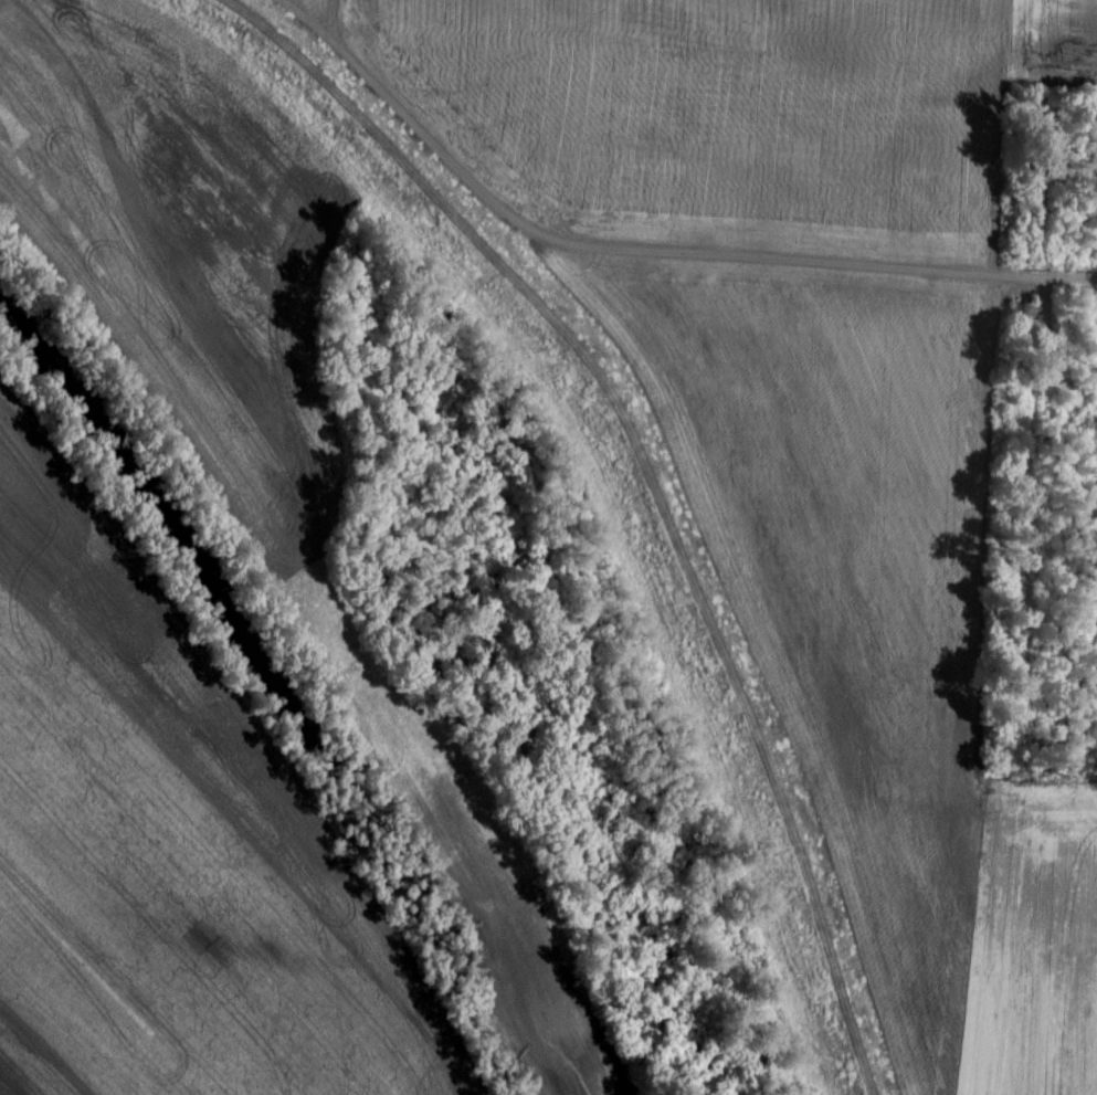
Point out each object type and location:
crop: (1059, 41)
road: (619, 248)
road: (726, 645)

